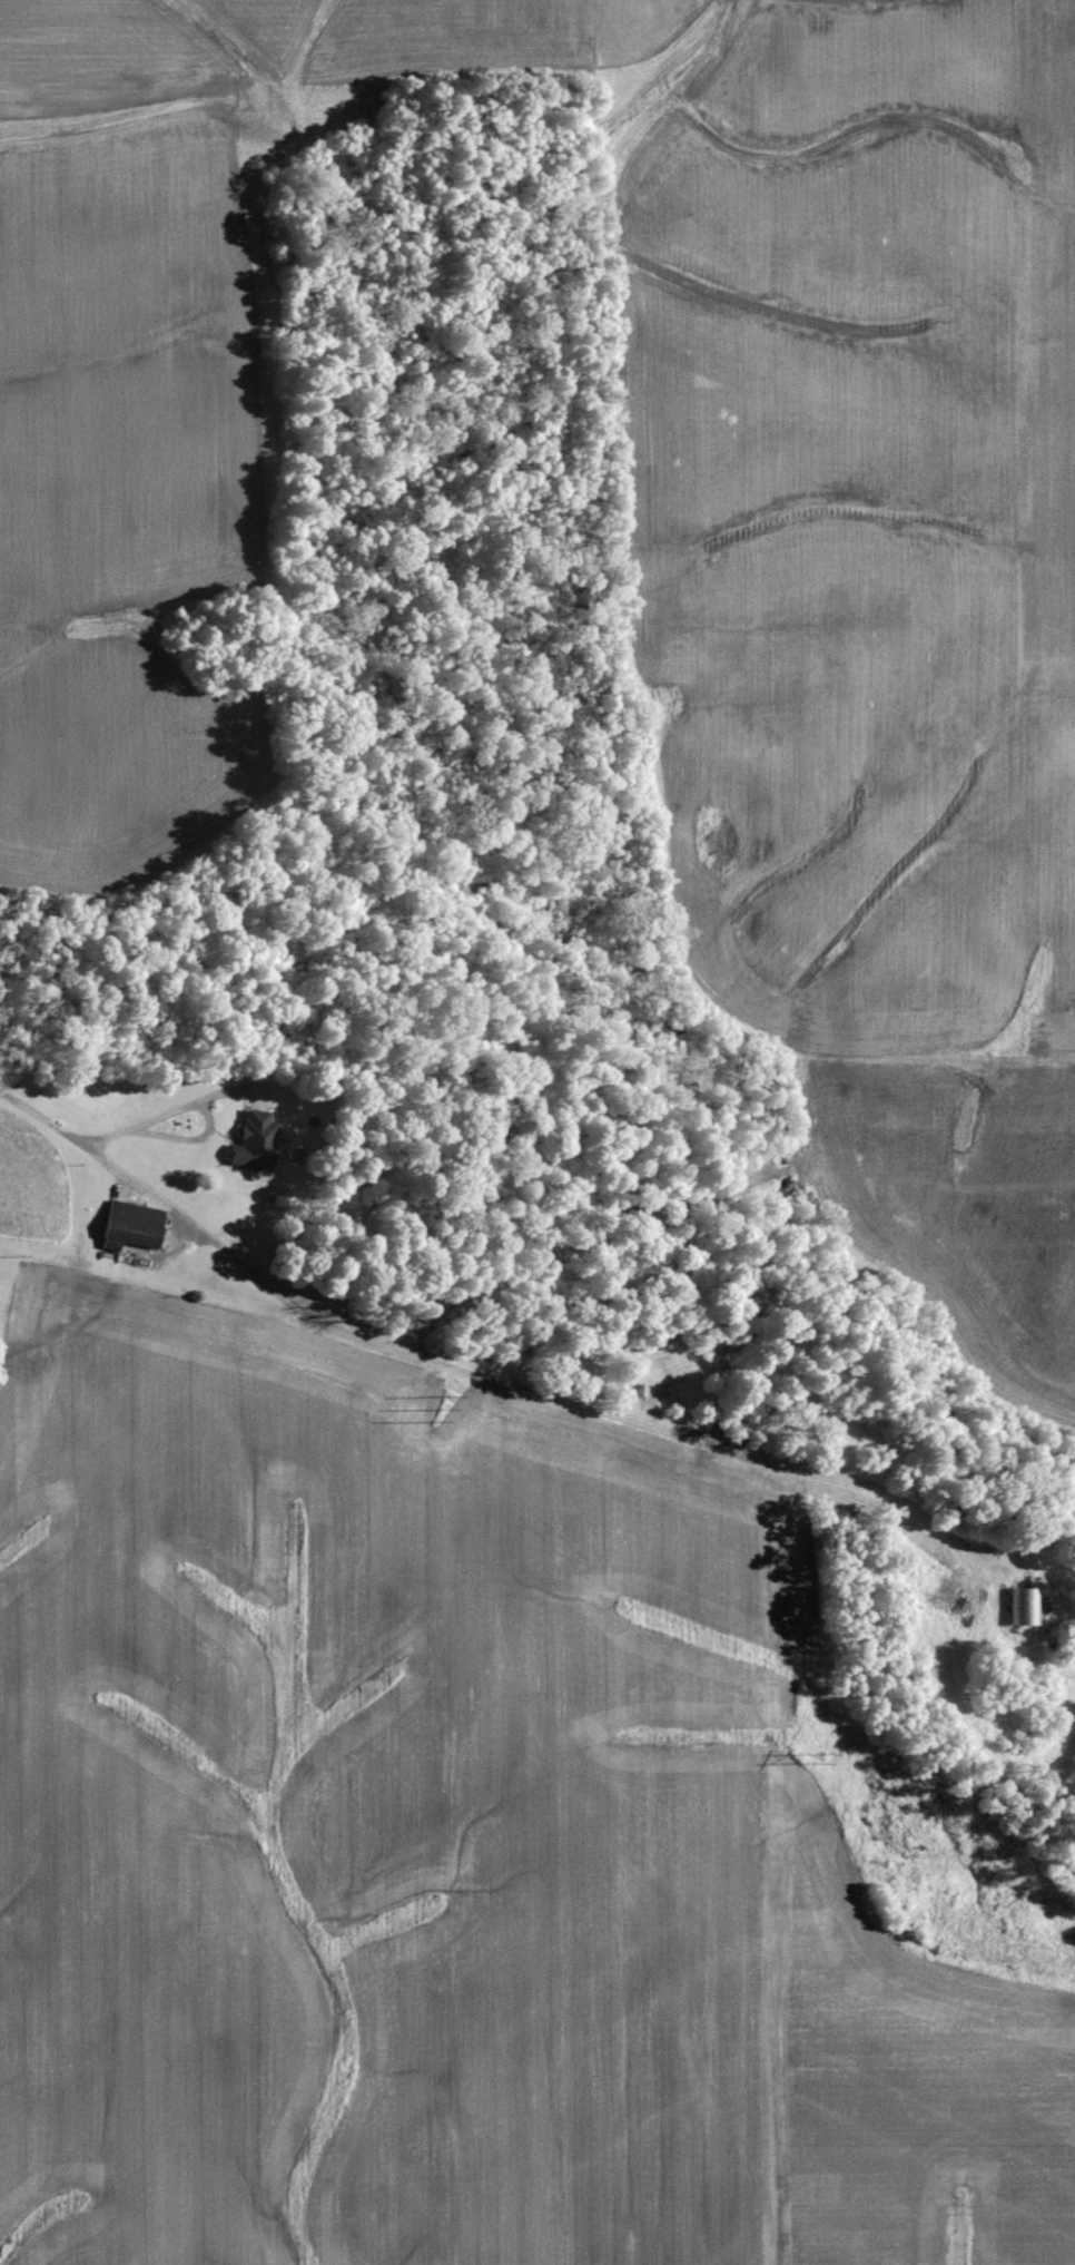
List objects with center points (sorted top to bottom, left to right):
building: (252, 1141)
building: (129, 1226)
road: (481, 1377)
power tower: (444, 1415)
building: (1023, 1607)
power tower: (821, 1758)

